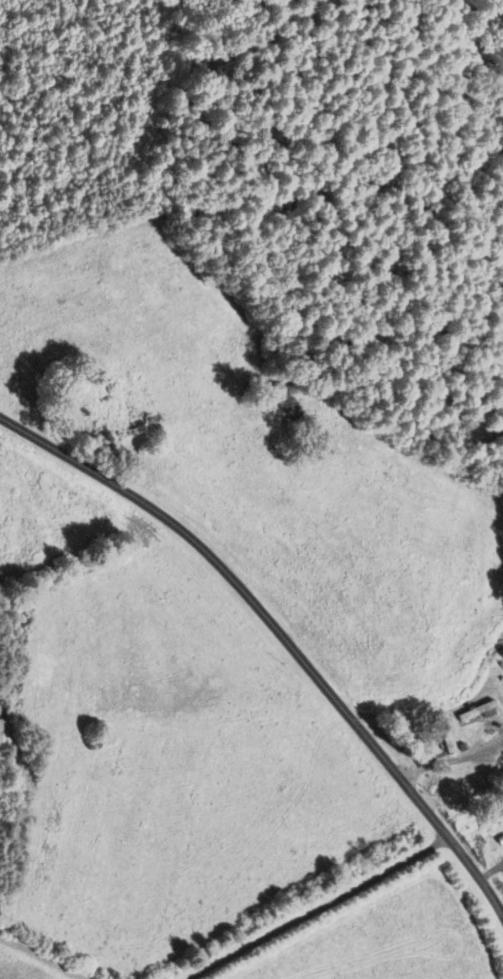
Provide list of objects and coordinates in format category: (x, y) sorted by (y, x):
road: (280, 641)
building: (466, 710)
building: (435, 733)
road: (312, 907)

